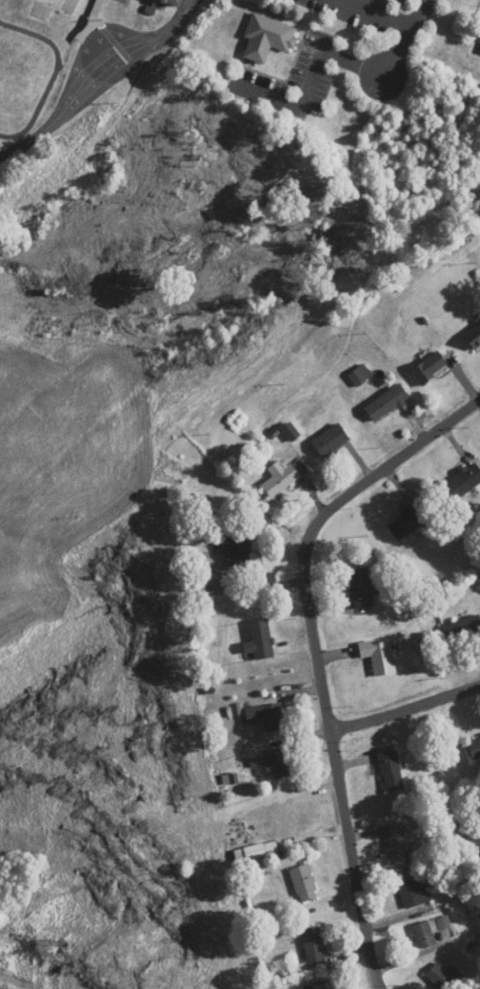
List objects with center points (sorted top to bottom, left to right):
building: (173, 2)
building: (267, 37)
road: (408, 38)
road: (94, 75)
road: (309, 82)
building: (474, 338)
building: (429, 367)
building: (360, 375)
building: (387, 403)
building: (331, 441)
crop: (67, 464)
building: (280, 478)
building: (464, 481)
building: (407, 521)
building: (239, 552)
building: (360, 588)
building: (462, 628)
building: (260, 640)
road: (316, 654)
building: (378, 655)
road: (405, 708)
building: (266, 716)
building: (474, 747)
building: (280, 763)
building: (391, 771)
building: (397, 844)
building: (303, 883)
building: (413, 892)
building: (429, 930)
building: (313, 944)
building: (442, 976)
building: (320, 985)
road: (457, 986)

